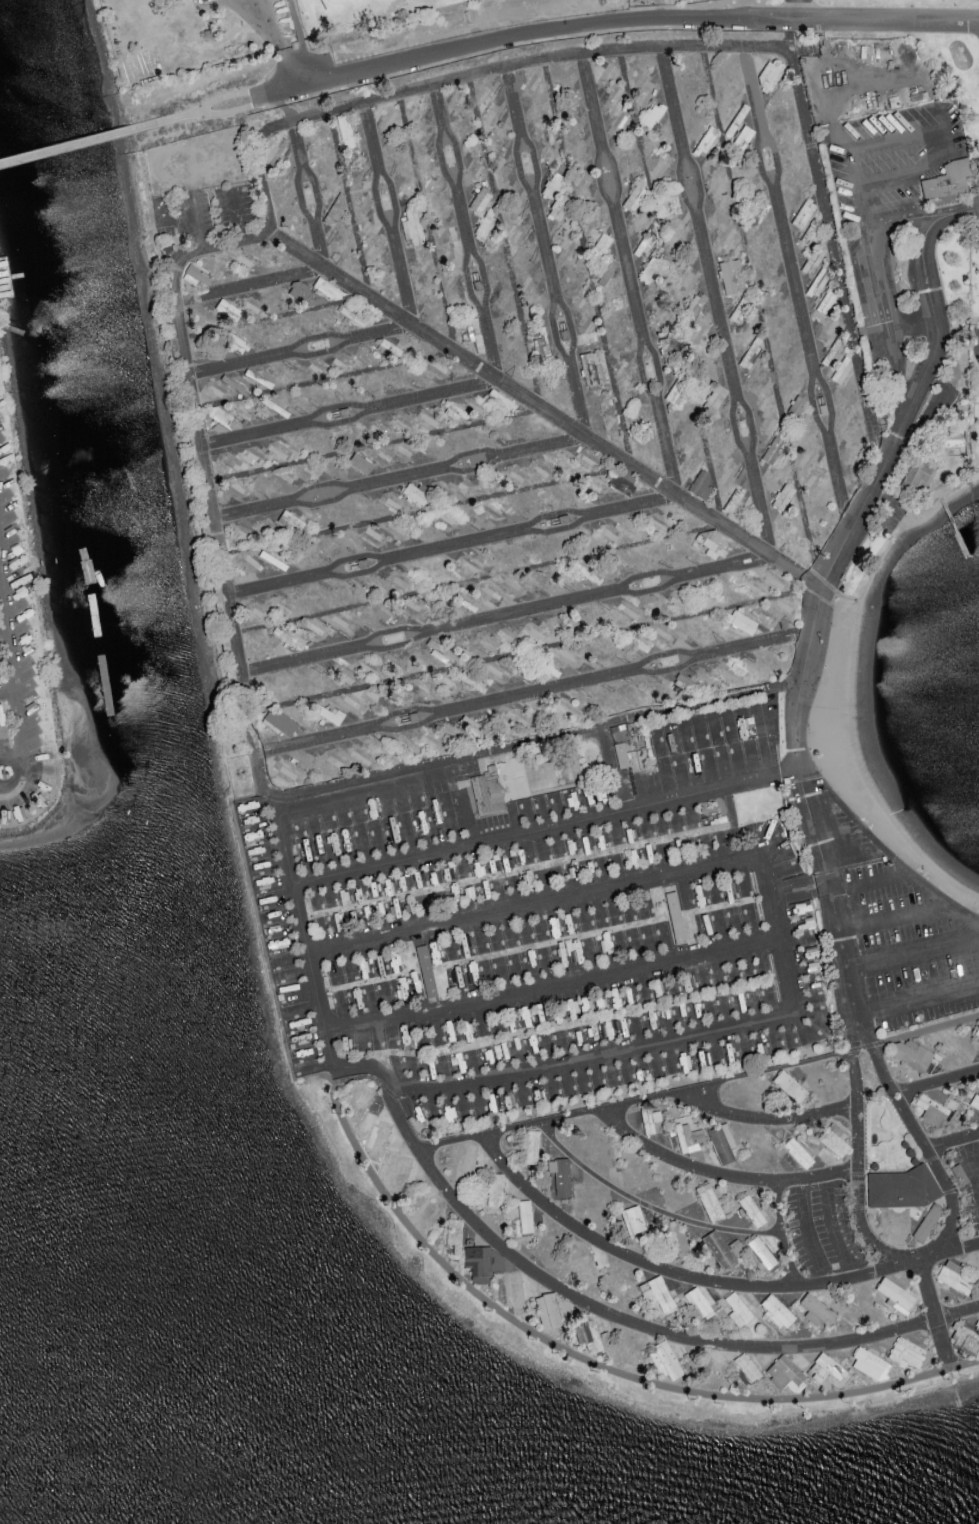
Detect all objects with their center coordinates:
park: (342, 1)
park: (837, 2)
park: (837, 2)
park: (381, 17)
park: (381, 17)
road: (641, 18)
road: (301, 41)
road: (277, 42)
road: (680, 47)
road: (286, 88)
road: (229, 95)
road: (234, 110)
road: (179, 117)
road: (916, 126)
building: (742, 137)
road: (78, 143)
building: (945, 182)
road: (306, 195)
building: (803, 212)
road: (236, 214)
road: (386, 215)
road: (195, 221)
building: (485, 223)
building: (811, 230)
road: (464, 234)
road: (545, 254)
building: (197, 274)
road: (626, 276)
building: (731, 276)
road: (875, 284)
road: (248, 285)
building: (0, 290)
road: (794, 290)
road: (715, 303)
road: (758, 314)
road: (978, 343)
building: (238, 344)
road: (299, 350)
road: (930, 360)
building: (591, 370)
building: (710, 404)
road: (544, 412)
road: (348, 413)
building: (220, 418)
building: (773, 450)
building: (918, 476)
road: (398, 478)
building: (701, 482)
building: (415, 493)
building: (783, 496)
road: (450, 546)
road: (3, 560)
road: (825, 581)
road: (506, 615)
building: (741, 621)
road: (7, 627)
building: (288, 636)
road: (20, 648)
road: (14, 692)
road: (533, 693)
building: (331, 714)
building: (279, 721)
road: (253, 748)
building: (621, 754)
road: (2, 764)
building: (488, 790)
road: (348, 798)
building: (556, 800)
road: (811, 823)
road: (544, 826)
road: (779, 891)
road: (940, 899)
road: (549, 901)
road: (963, 914)
building: (675, 917)
parking lot: (904, 930)
road: (304, 938)
road: (912, 953)
building: (425, 970)
road: (786, 970)
road: (554, 983)
road: (916, 997)
building: (976, 1032)
building: (803, 1037)
building: (912, 1054)
road: (557, 1062)
road: (935, 1080)
building: (789, 1085)
building: (567, 1086)
road: (698, 1086)
building: (972, 1099)
building: (931, 1109)
road: (770, 1118)
building: (650, 1120)
road: (401, 1123)
building: (687, 1133)
building: (833, 1139)
road: (952, 1140)
building: (722, 1142)
road: (720, 1173)
building: (958, 1173)
building: (560, 1175)
parking lot: (966, 1184)
road: (977, 1187)
building: (901, 1189)
building: (708, 1200)
road: (646, 1205)
building: (751, 1209)
building: (524, 1215)
building: (632, 1218)
building: (927, 1223)
road: (832, 1227)
parking lot: (824, 1229)
road: (807, 1232)
road: (780, 1233)
building: (453, 1235)
building: (677, 1238)
building: (718, 1249)
building: (761, 1251)
road: (917, 1257)
building: (482, 1262)
building: (953, 1276)
road: (706, 1280)
building: (656, 1293)
building: (896, 1295)
building: (698, 1302)
building: (551, 1309)
building: (737, 1309)
building: (816, 1309)
building: (775, 1311)
road: (933, 1313)
road: (666, 1332)
building: (589, 1336)
building: (965, 1338)
road: (565, 1350)
building: (906, 1352)
building: (664, 1359)
building: (868, 1362)
building: (747, 1366)
building: (828, 1370)
building: (785, 1373)

